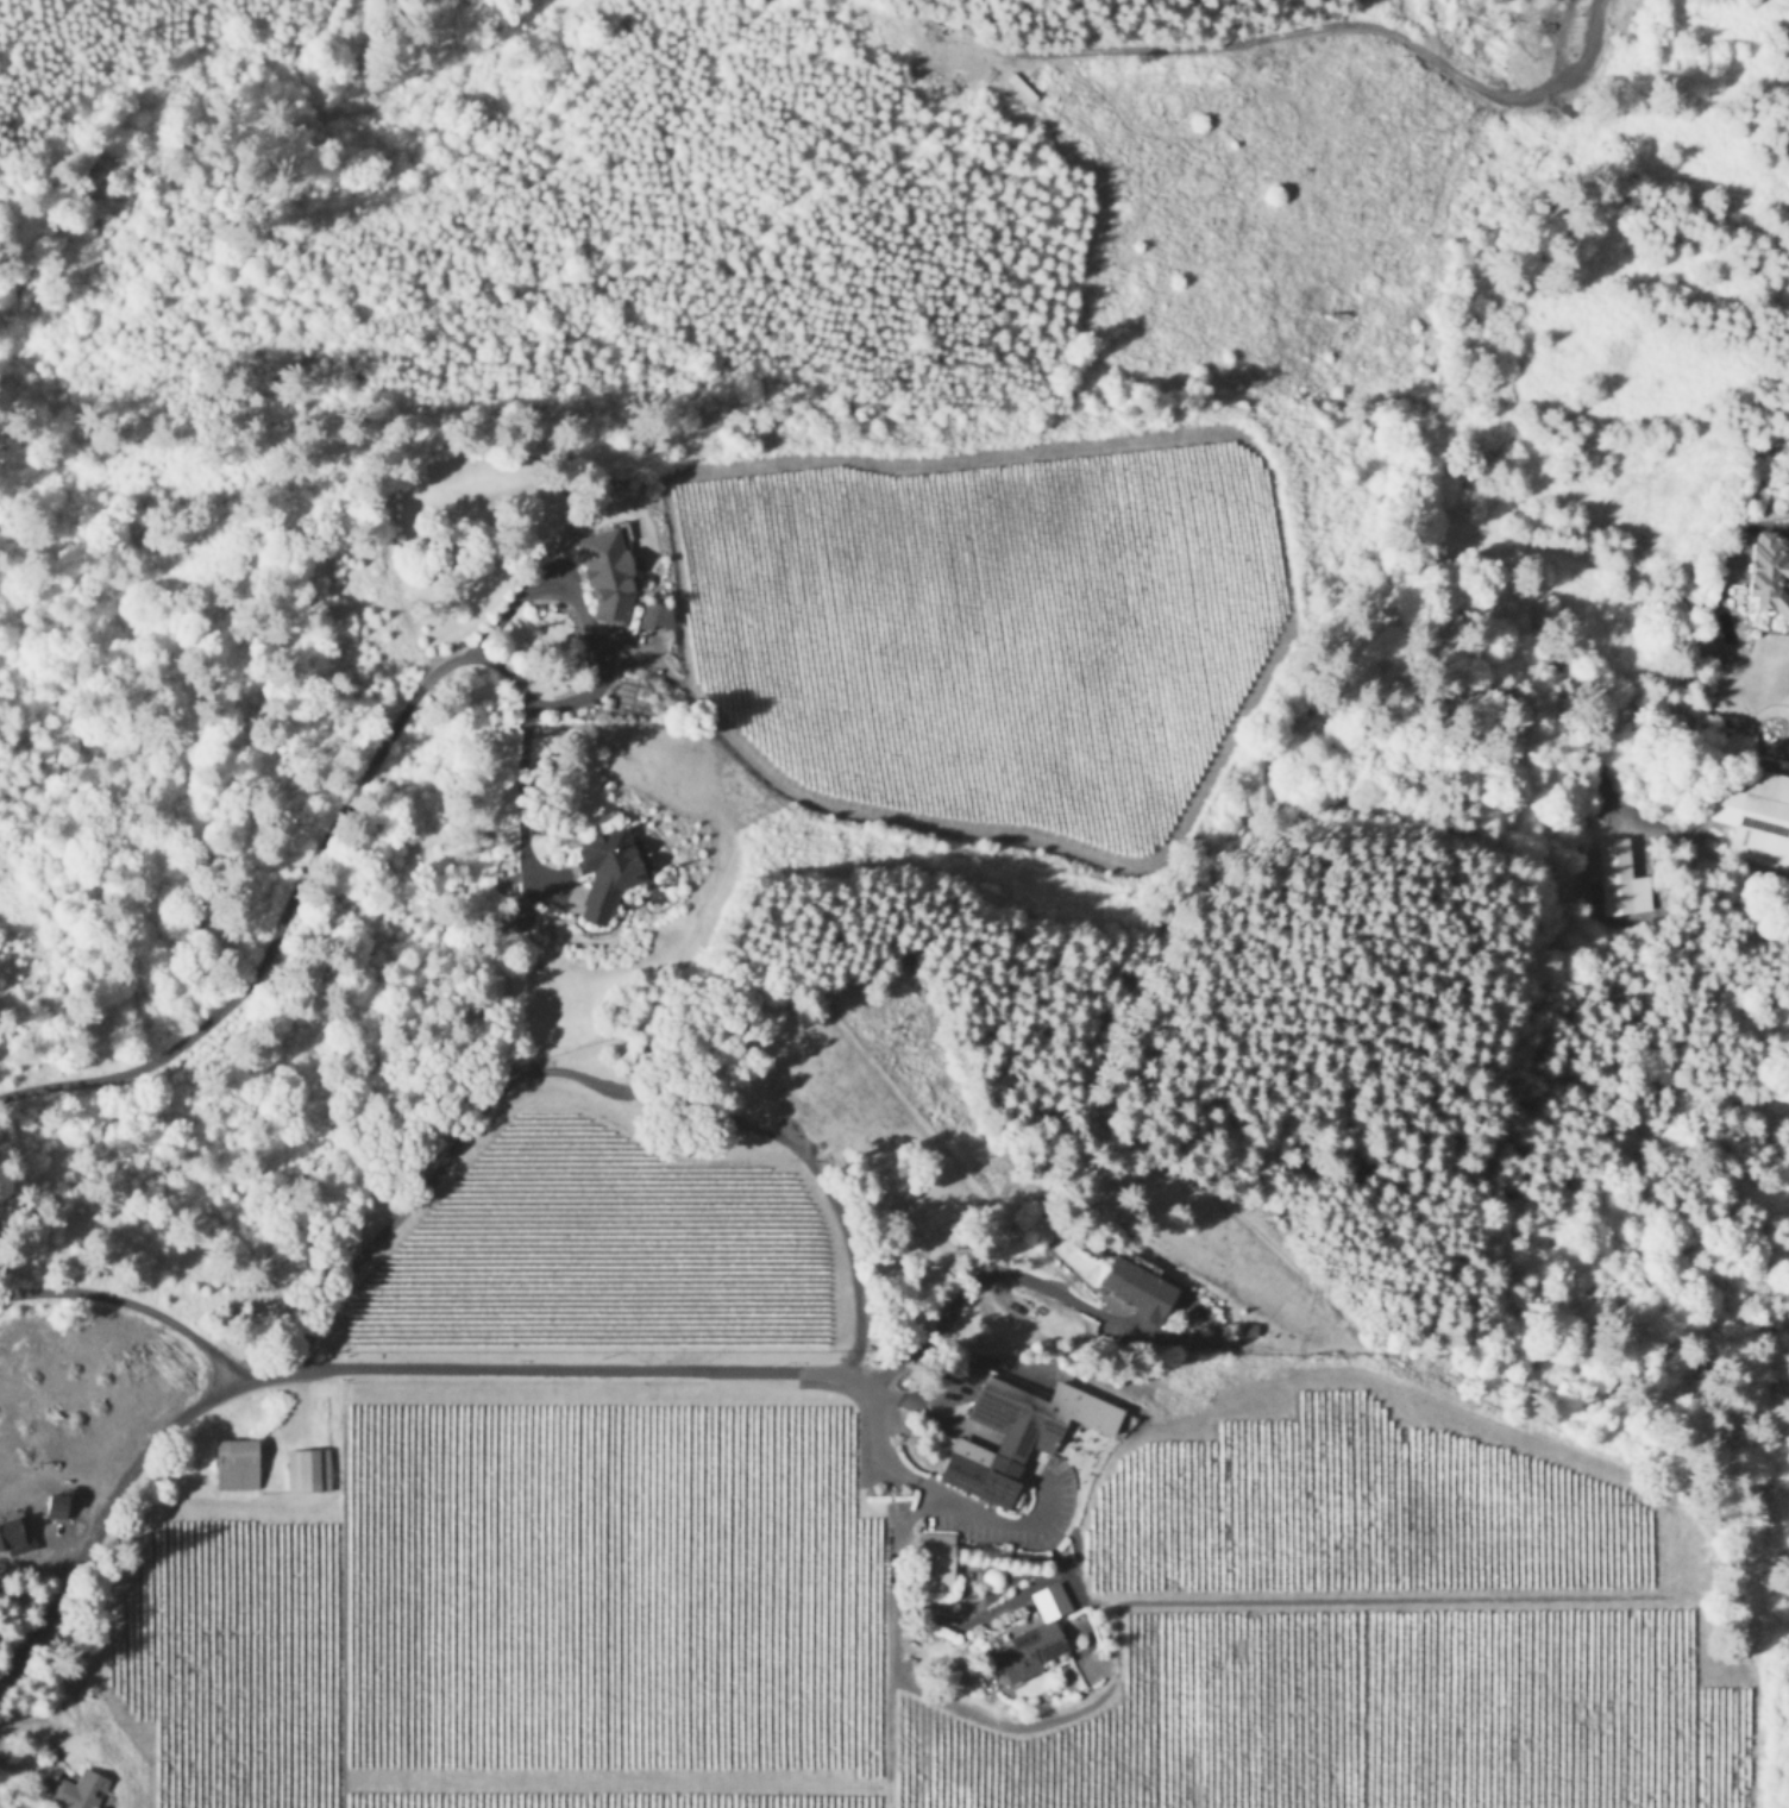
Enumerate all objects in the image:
building: (1768, 572)
building: (605, 573)
road: (585, 610)
building: (654, 614)
road: (520, 765)
building: (1763, 816)
building: (1617, 859)
building: (604, 870)
building: (576, 894)
road: (280, 924)
road: (967, 1280)
building: (1135, 1286)
road: (131, 1302)
road: (341, 1366)
building: (1017, 1431)
building: (234, 1462)
road: (898, 1463)
building: (307, 1468)
building: (52, 1502)
building: (14, 1533)
building: (936, 1558)
building: (1035, 1634)
building: (80, 1789)

